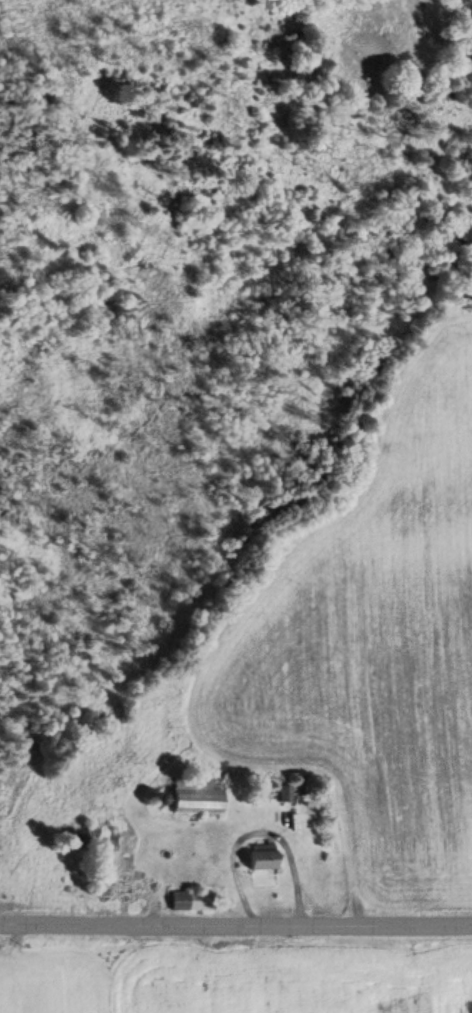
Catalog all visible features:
building: (197, 795)
building: (91, 834)
building: (260, 856)
building: (106, 873)
building: (192, 900)
road: (235, 926)

